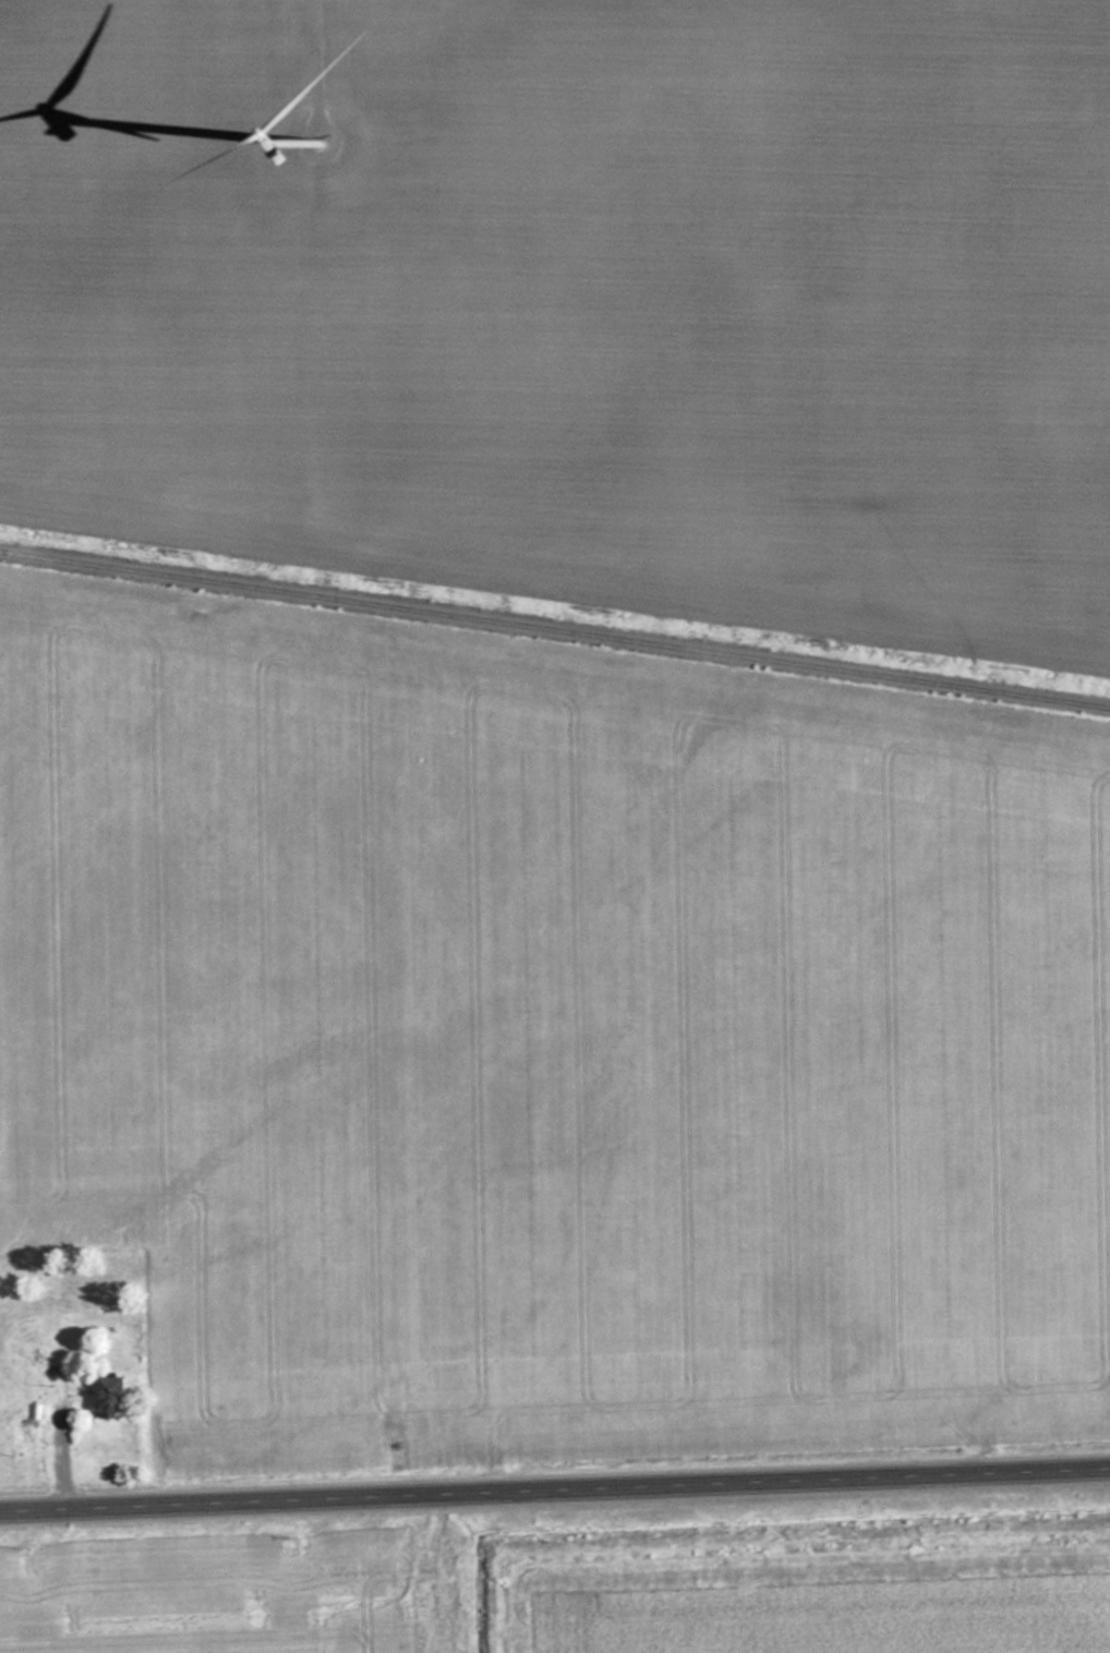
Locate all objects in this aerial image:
wind turbine: (323, 137)
railway: (555, 628)
building: (121, 1396)
road: (555, 1488)

